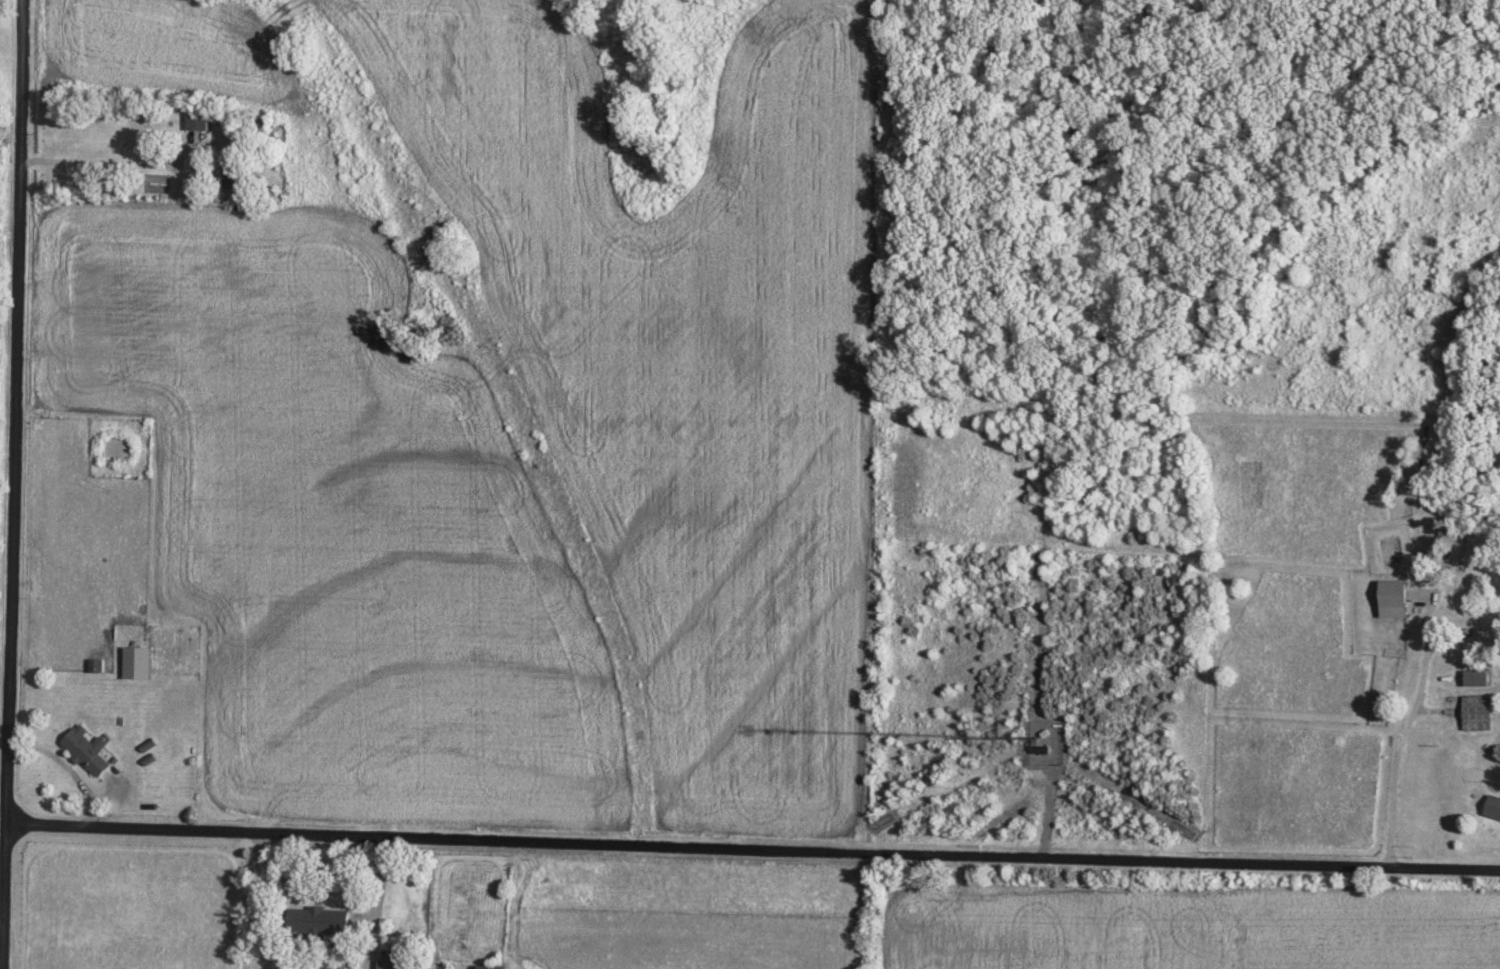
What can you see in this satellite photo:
building: (202, 121)
building: (238, 168)
road: (13, 484)
building: (140, 663)
building: (1477, 713)
road: (1391, 742)
building: (1041, 750)
building: (90, 751)
building: (1494, 807)
road: (753, 827)
building: (325, 921)
building: (406, 966)
building: (495, 967)

